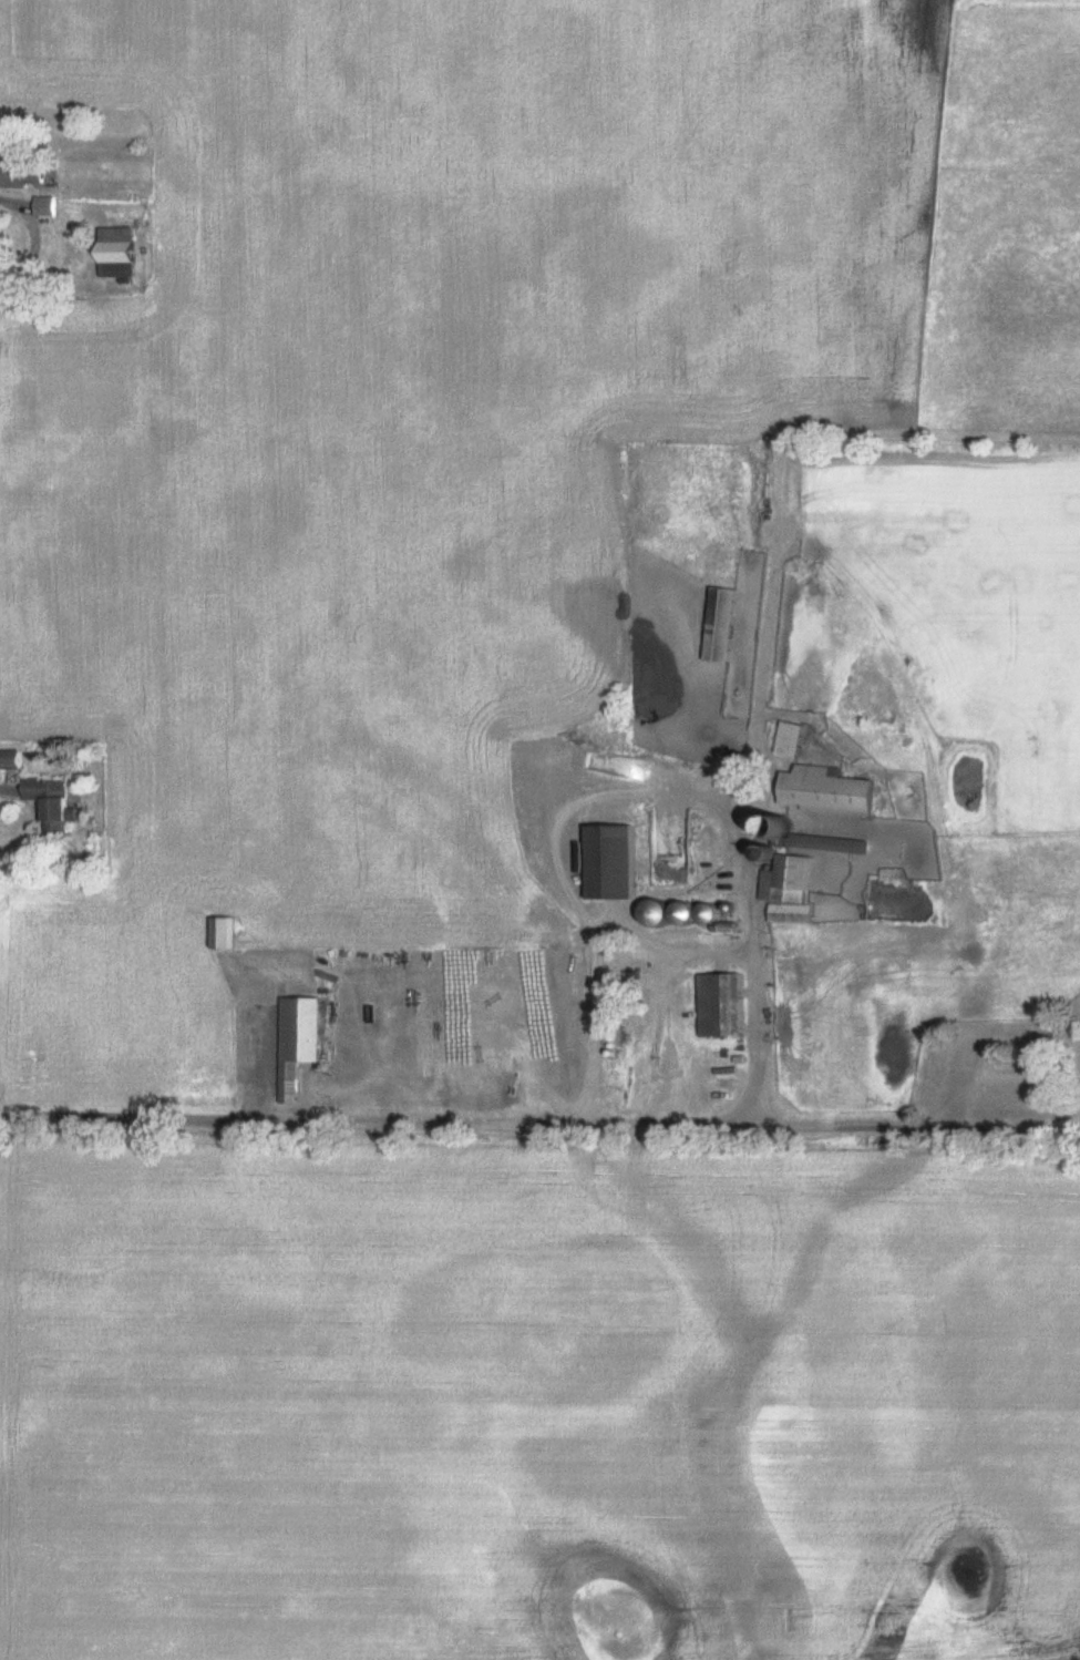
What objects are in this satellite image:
building: (28, 176)
building: (49, 208)
road: (32, 236)
building: (122, 254)
building: (726, 626)
building: (794, 740)
building: (14, 761)
building: (831, 793)
building: (54, 806)
building: (615, 864)
building: (793, 891)
building: (662, 914)
building: (690, 915)
building: (224, 935)
road: (661, 943)
building: (722, 1007)
road: (666, 1042)
building: (300, 1044)
road: (531, 1130)

